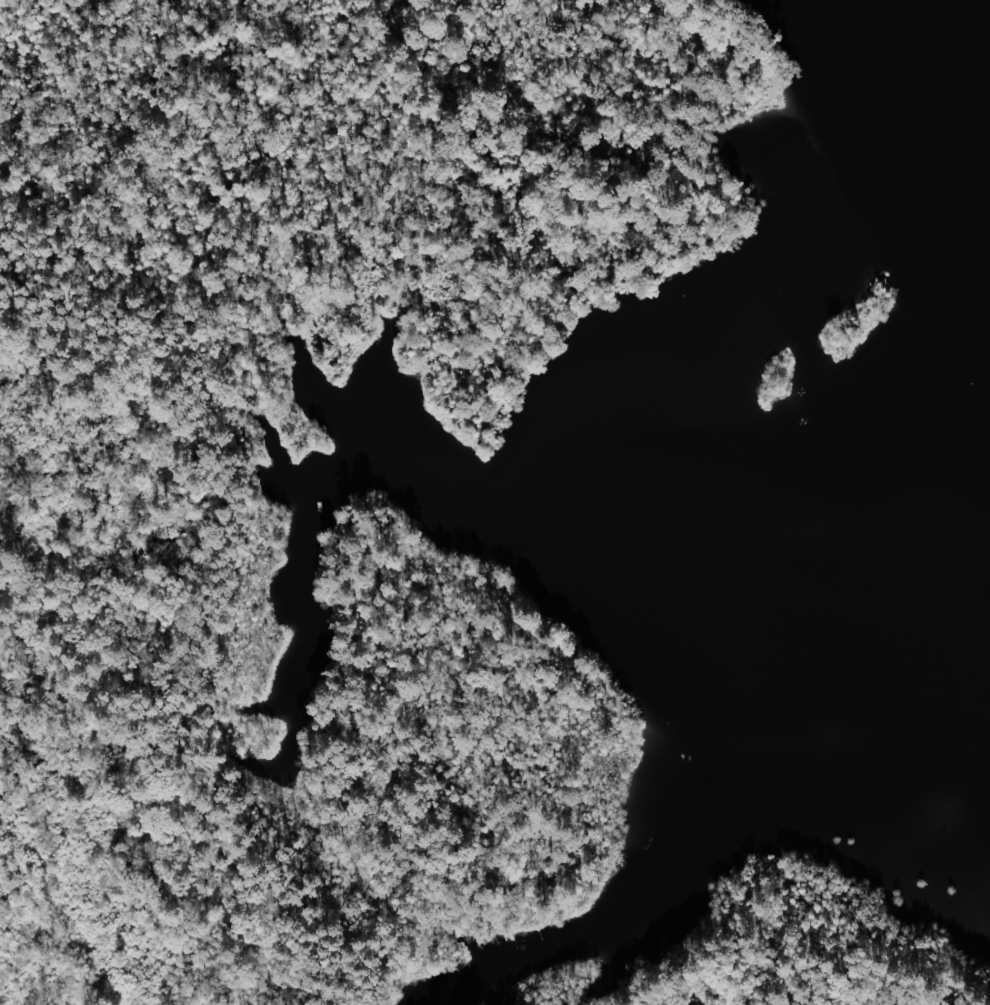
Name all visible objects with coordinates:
road: (483, 124)
road: (523, 360)
park: (133, 502)

